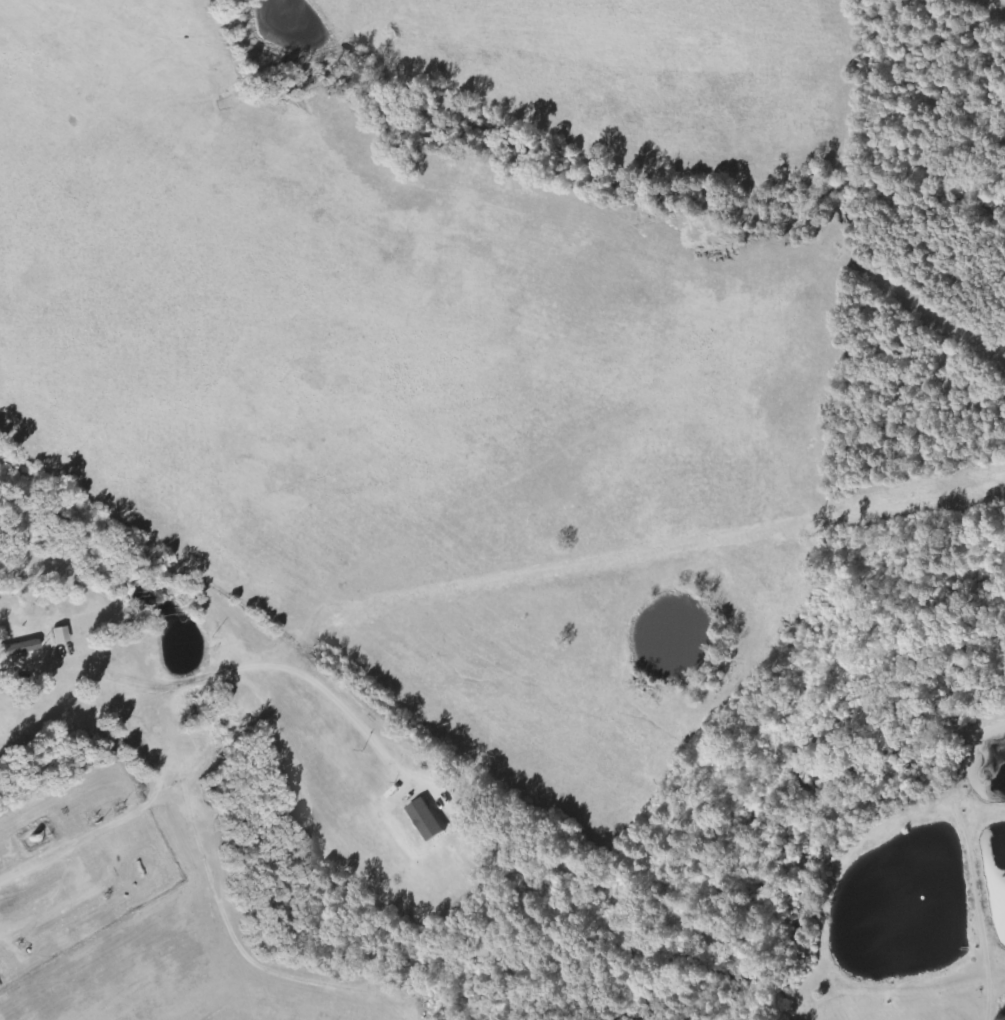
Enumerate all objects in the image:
building: (59, 635)
building: (19, 648)
road: (58, 853)

